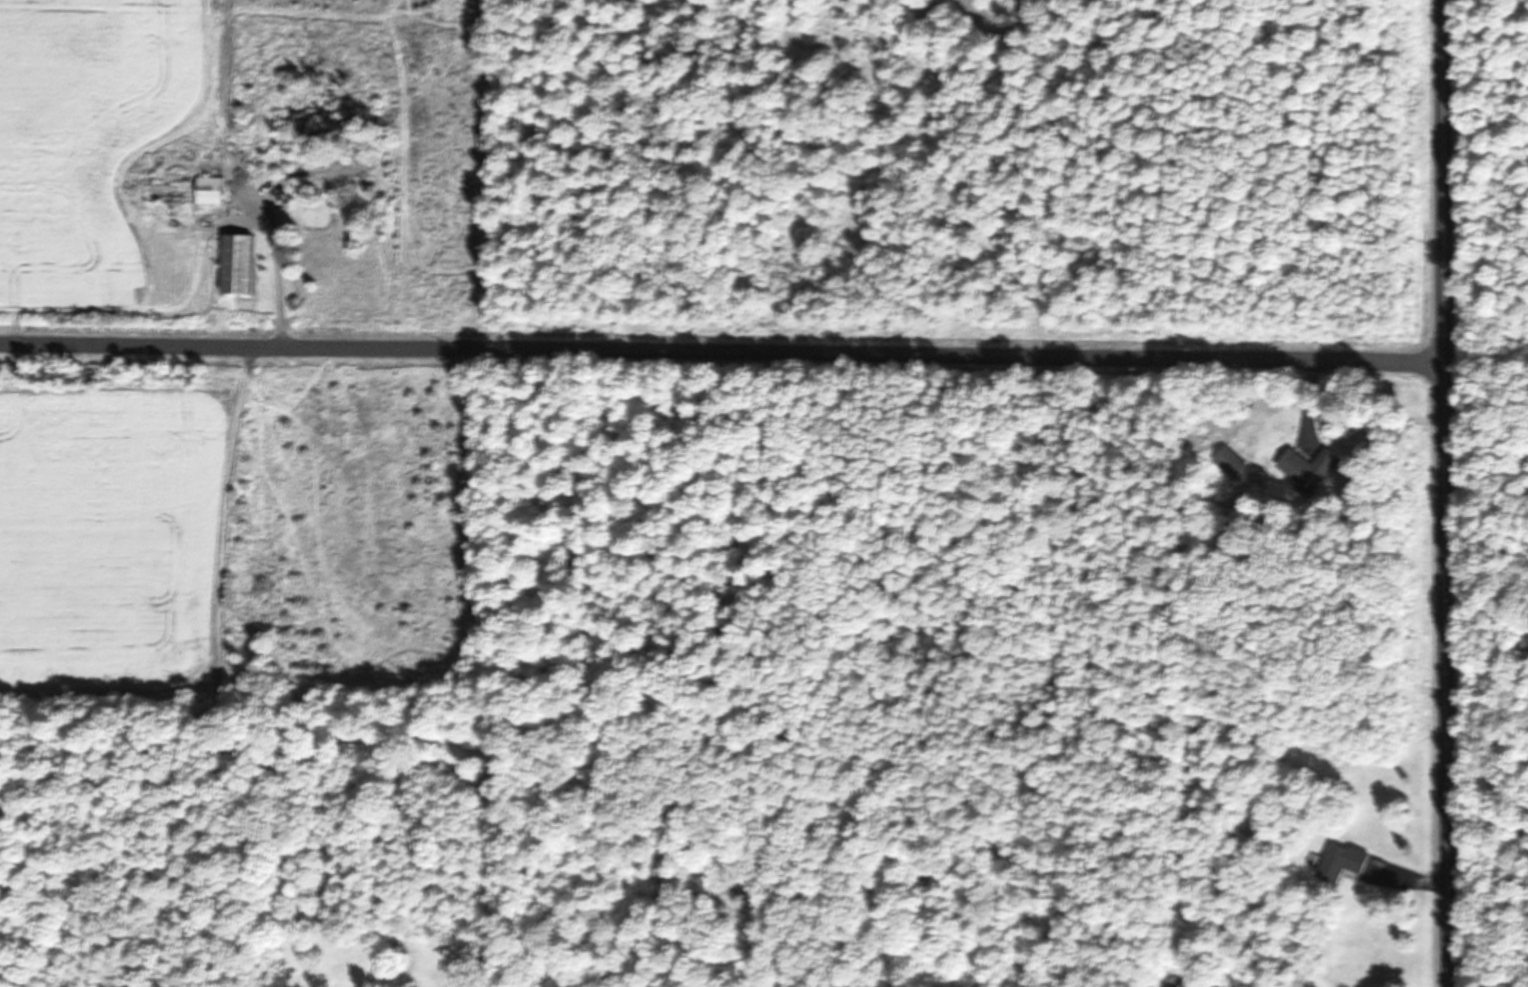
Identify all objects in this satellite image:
crop: (112, 149)
building: (344, 170)
building: (189, 189)
building: (241, 263)
road: (722, 352)
building: (1312, 465)
road: (1445, 493)
crop: (252, 526)
building: (1344, 862)

